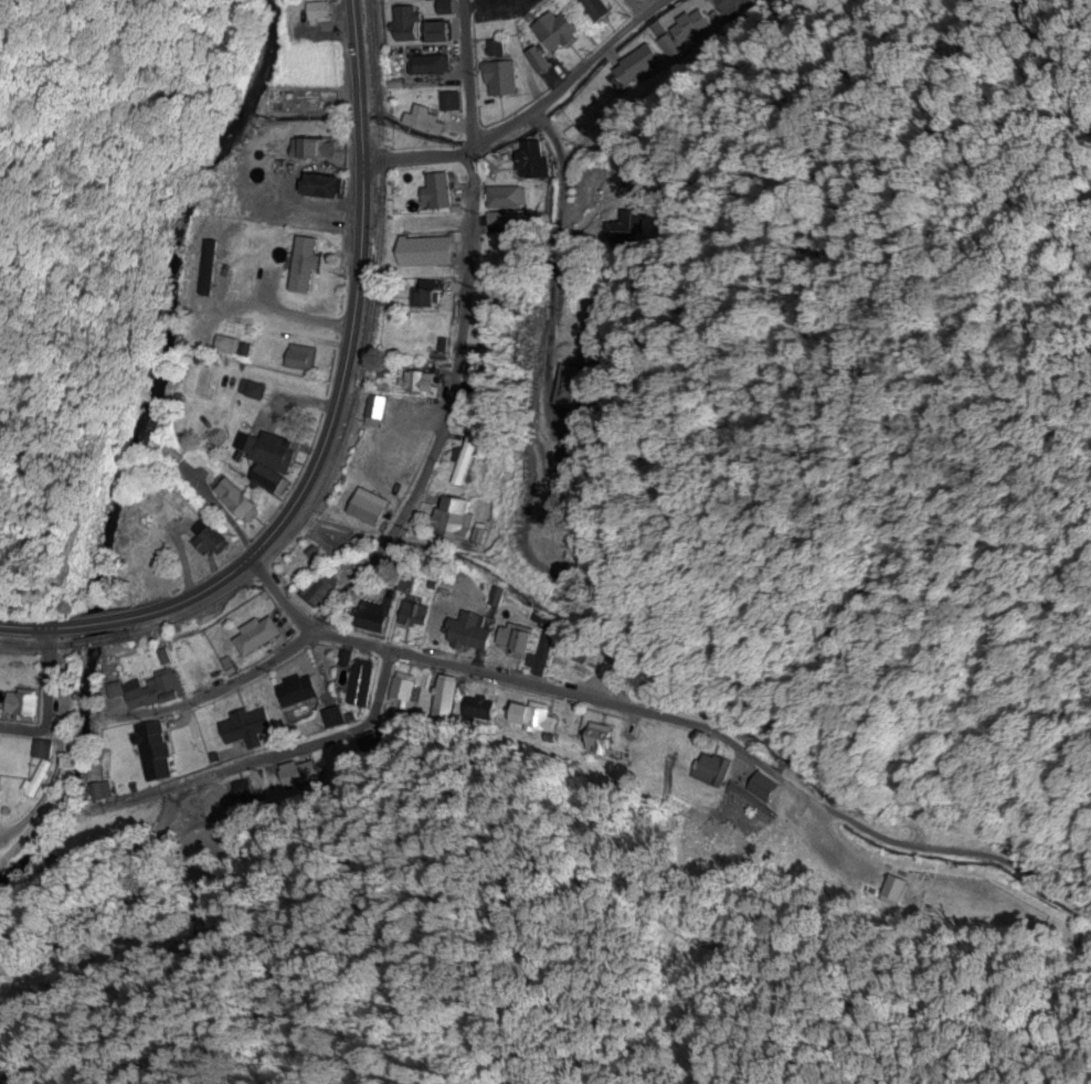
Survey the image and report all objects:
road: (635, 8)
road: (465, 77)
road: (527, 116)
road: (928, 135)
road: (327, 423)
railway: (343, 435)
road: (403, 521)
road: (278, 598)
road: (566, 683)
road: (45, 702)
road: (308, 723)
road: (739, 777)

